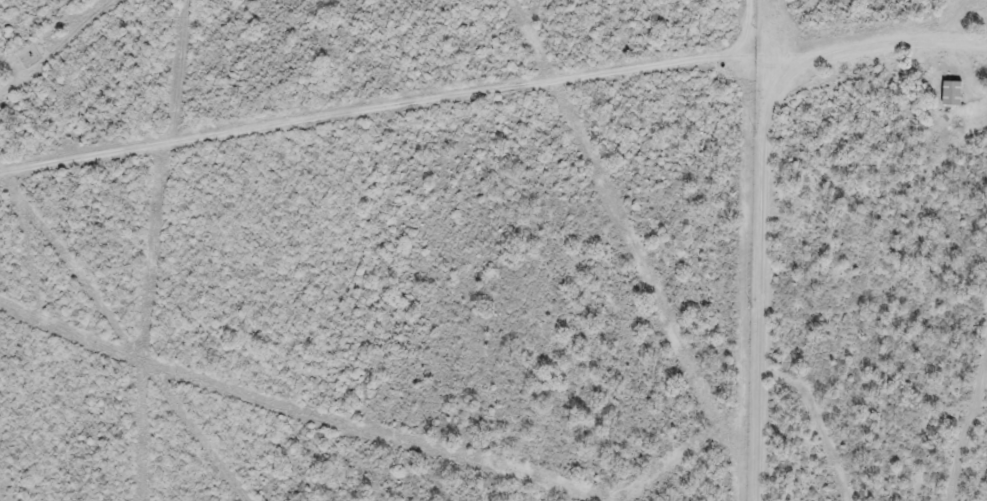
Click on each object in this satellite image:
building: (949, 93)
road: (759, 178)

